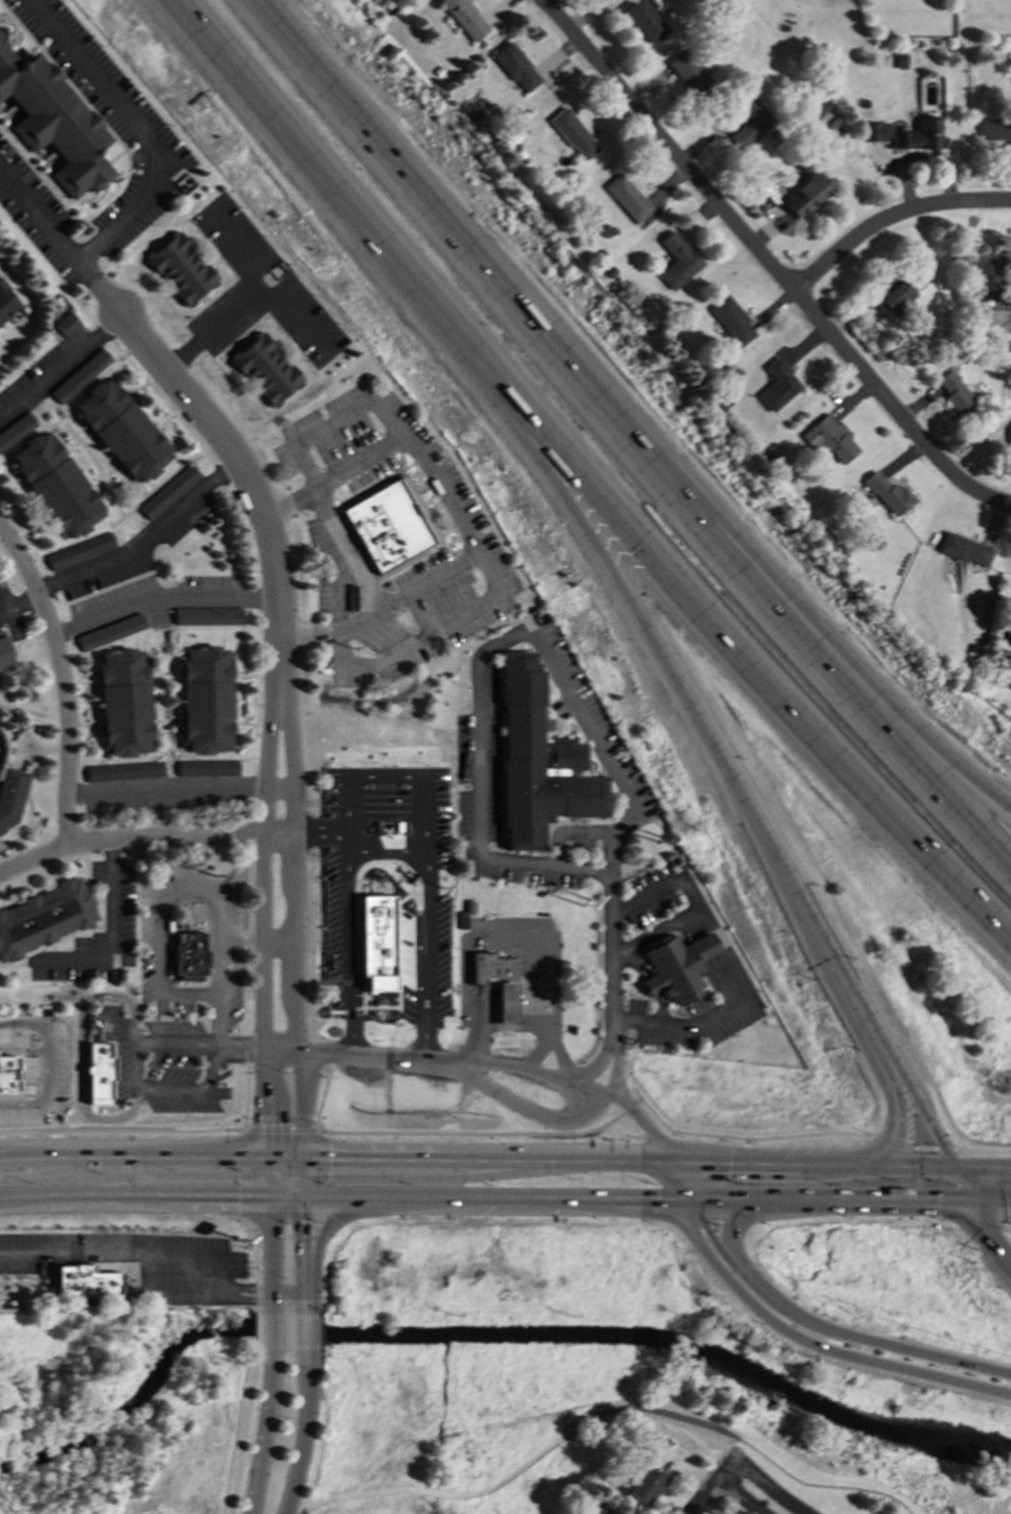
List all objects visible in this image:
building: (464, 18)
building: (644, 21)
building: (516, 67)
building: (688, 72)
building: (826, 115)
building: (49, 120)
building: (749, 122)
road: (141, 126)
building: (997, 130)
building: (874, 131)
building: (573, 134)
building: (919, 135)
road: (333, 178)
building: (806, 195)
building: (628, 197)
road: (890, 213)
road: (41, 214)
road: (242, 243)
building: (678, 261)
road: (770, 261)
building: (995, 261)
building: (183, 268)
road: (91, 273)
road: (255, 293)
building: (894, 295)
building: (7, 302)
building: (732, 320)
building: (69, 324)
road: (61, 363)
building: (269, 368)
building: (82, 376)
building: (778, 385)
building: (957, 394)
road: (318, 428)
building: (17, 430)
building: (124, 430)
road: (628, 435)
building: (830, 440)
building: (1010, 440)
road: (243, 460)
building: (58, 485)
building: (171, 492)
building: (889, 494)
road: (461, 515)
building: (389, 527)
road: (248, 533)
road: (149, 539)
building: (964, 549)
building: (81, 551)
road: (353, 564)
road: (31, 573)
road: (163, 598)
road: (20, 603)
building: (209, 616)
road: (167, 627)
building: (111, 632)
road: (68, 636)
road: (821, 636)
road: (484, 652)
building: (4, 653)
road: (741, 653)
road: (392, 654)
road: (162, 688)
building: (206, 700)
building: (124, 702)
road: (695, 710)
road: (50, 715)
road: (167, 748)
building: (538, 762)
building: (207, 768)
road: (401, 770)
building: (124, 771)
road: (68, 772)
road: (166, 788)
building: (11, 795)
road: (25, 826)
road: (319, 835)
road: (177, 836)
road: (347, 848)
road: (426, 871)
road: (664, 884)
road: (164, 899)
building: (45, 917)
road: (262, 919)
road: (293, 919)
building: (383, 923)
road: (510, 927)
road: (111, 933)
road: (610, 948)
building: (188, 957)
road: (350, 957)
building: (491, 966)
gas station: (491, 966)
building: (676, 966)
road: (733, 968)
gas station: (506, 1003)
road: (423, 1009)
road: (216, 1021)
road: (80, 1046)
road: (241, 1048)
road: (368, 1052)
road: (559, 1055)
road: (614, 1056)
road: (46, 1063)
road: (286, 1063)
road: (594, 1065)
building: (97, 1073)
building: (7, 1074)
road: (541, 1074)
road: (133, 1080)
road: (536, 1116)
road: (921, 1117)
road: (898, 1121)
traffic signals: (263, 1124)
traffic signals: (898, 1126)
road: (643, 1128)
road: (159, 1130)
road: (282, 1130)
road: (569, 1132)
road: (886, 1142)
road: (918, 1148)
road: (937, 1148)
road: (979, 1149)
road: (283, 1157)
road: (131, 1158)
traffic signals: (328, 1158)
road: (437, 1158)
road: (625, 1161)
traffic signals: (678, 1163)
road: (813, 1163)
traffic signals: (949, 1163)
road: (980, 1163)
road: (264, 1166)
road: (285, 1168)
road: (61, 1169)
road: (243, 1175)
road: (303, 1175)
road: (150, 1176)
traffic signals: (328, 1176)
road: (418, 1176)
traffic signals: (237, 1177)
road: (682, 1180)
road: (960, 1180)
road: (266, 1184)
road: (133, 1193)
traffic signals: (237, 1193)
road: (285, 1194)
road: (342, 1195)
road: (534, 1196)
road: (888, 1196)
traffic signals: (971, 1197)
traffic signals: (687, 1198)
road: (726, 1198)
road: (333, 1216)
traffic signals: (304, 1220)
road: (735, 1221)
road: (304, 1227)
road: (701, 1227)
road: (986, 1240)
road: (268, 1242)
road: (141, 1254)
road: (253, 1267)
road: (304, 1275)
building: (85, 1282)
road: (287, 1291)
road: (305, 1300)
road: (269, 1301)
road: (113, 1302)
road: (255, 1327)
road: (270, 1329)
road: (305, 1329)
river: (485, 1335)
road: (814, 1342)
road: (852, 1342)
road: (243, 1425)
road: (264, 1430)
road: (304, 1431)
road: (759, 1481)
building: (644, 1482)
road: (820, 1484)
road: (440, 1492)
road: (705, 1497)
road: (739, 1498)
building: (601, 1510)

